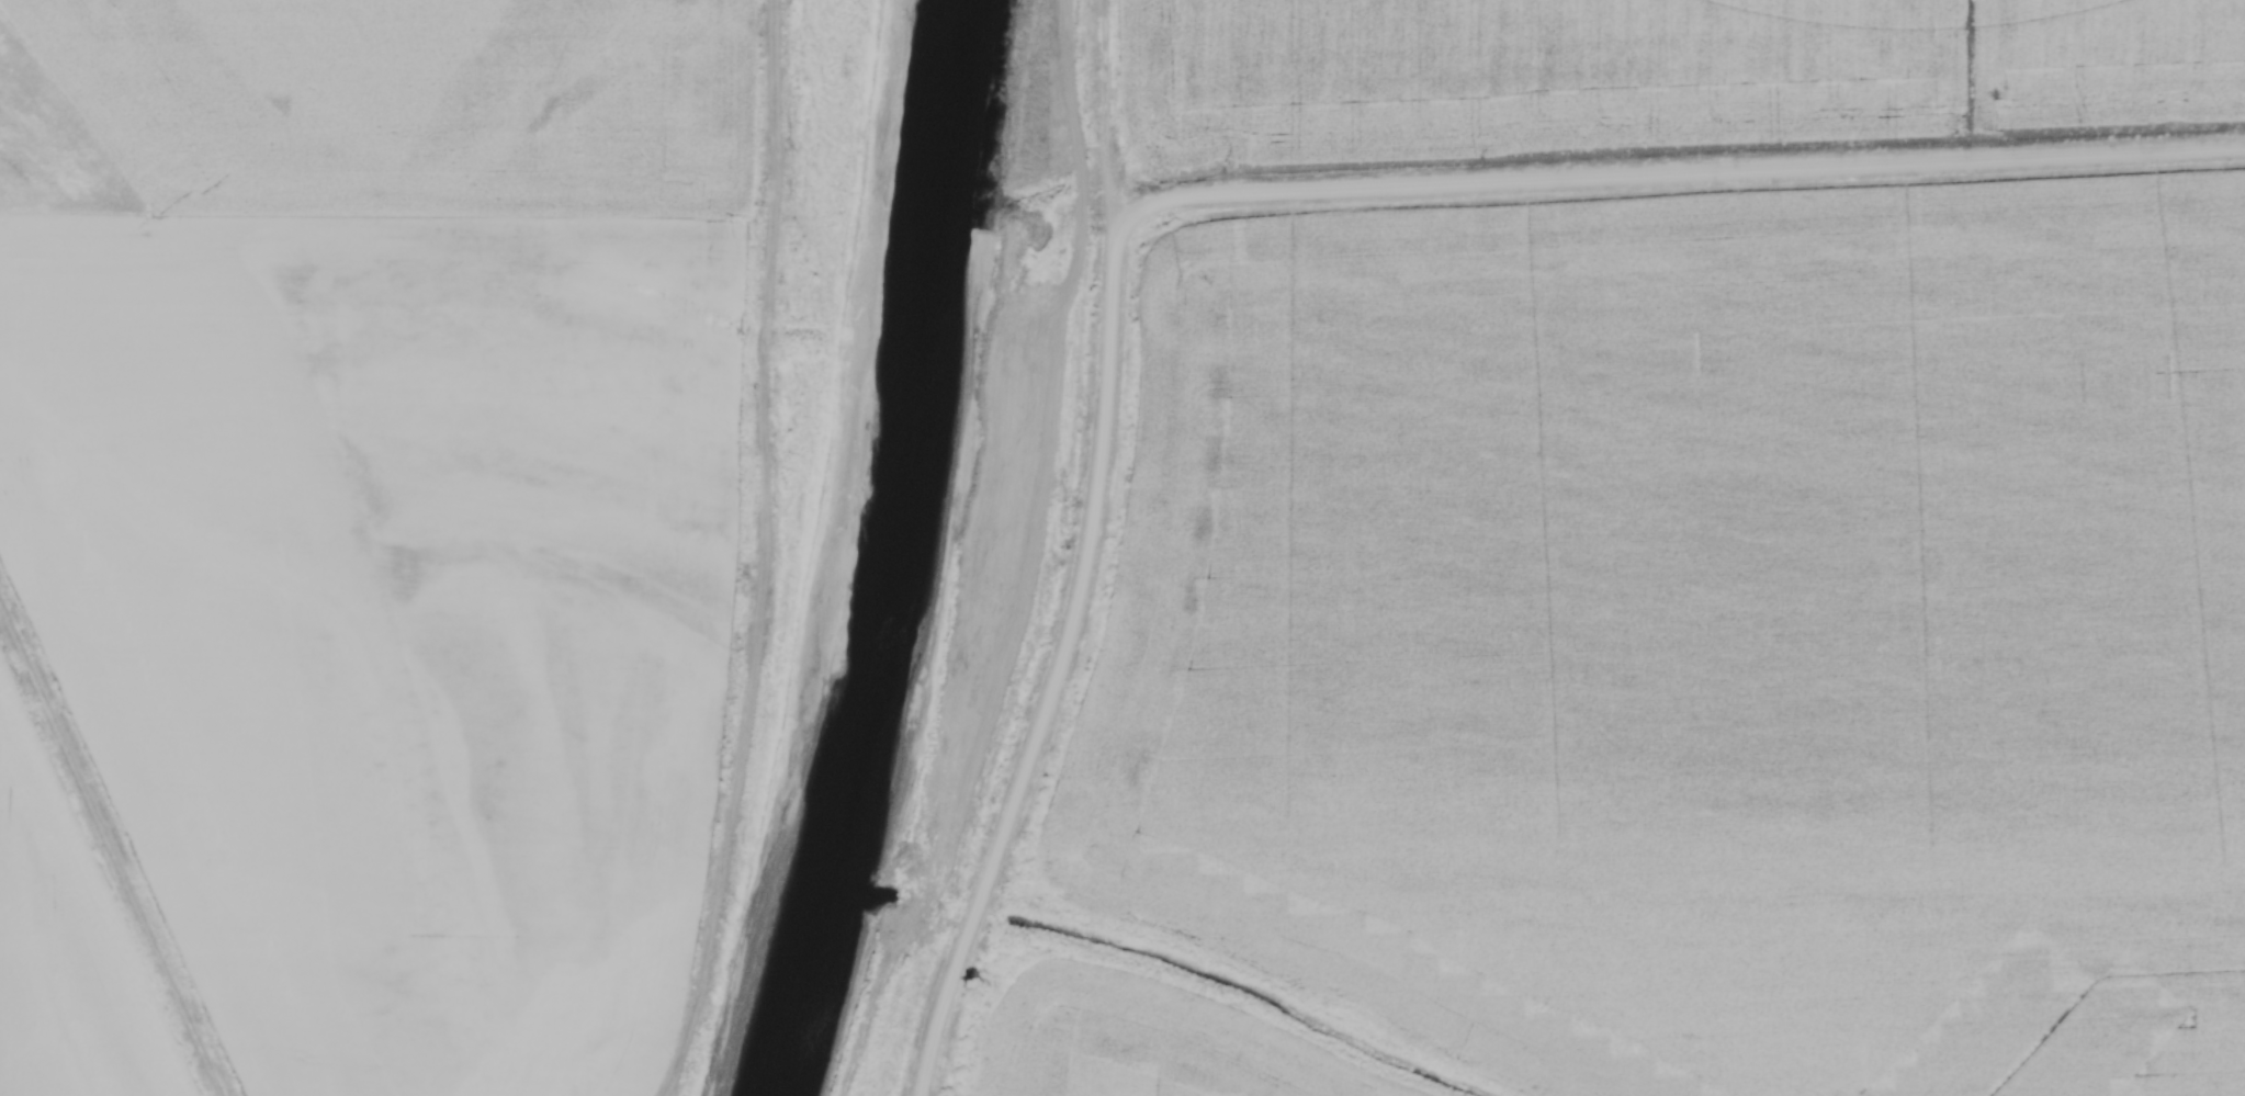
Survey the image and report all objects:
road: (1231, 196)
river: (884, 553)
road: (112, 848)
crop: (1136, 1051)

